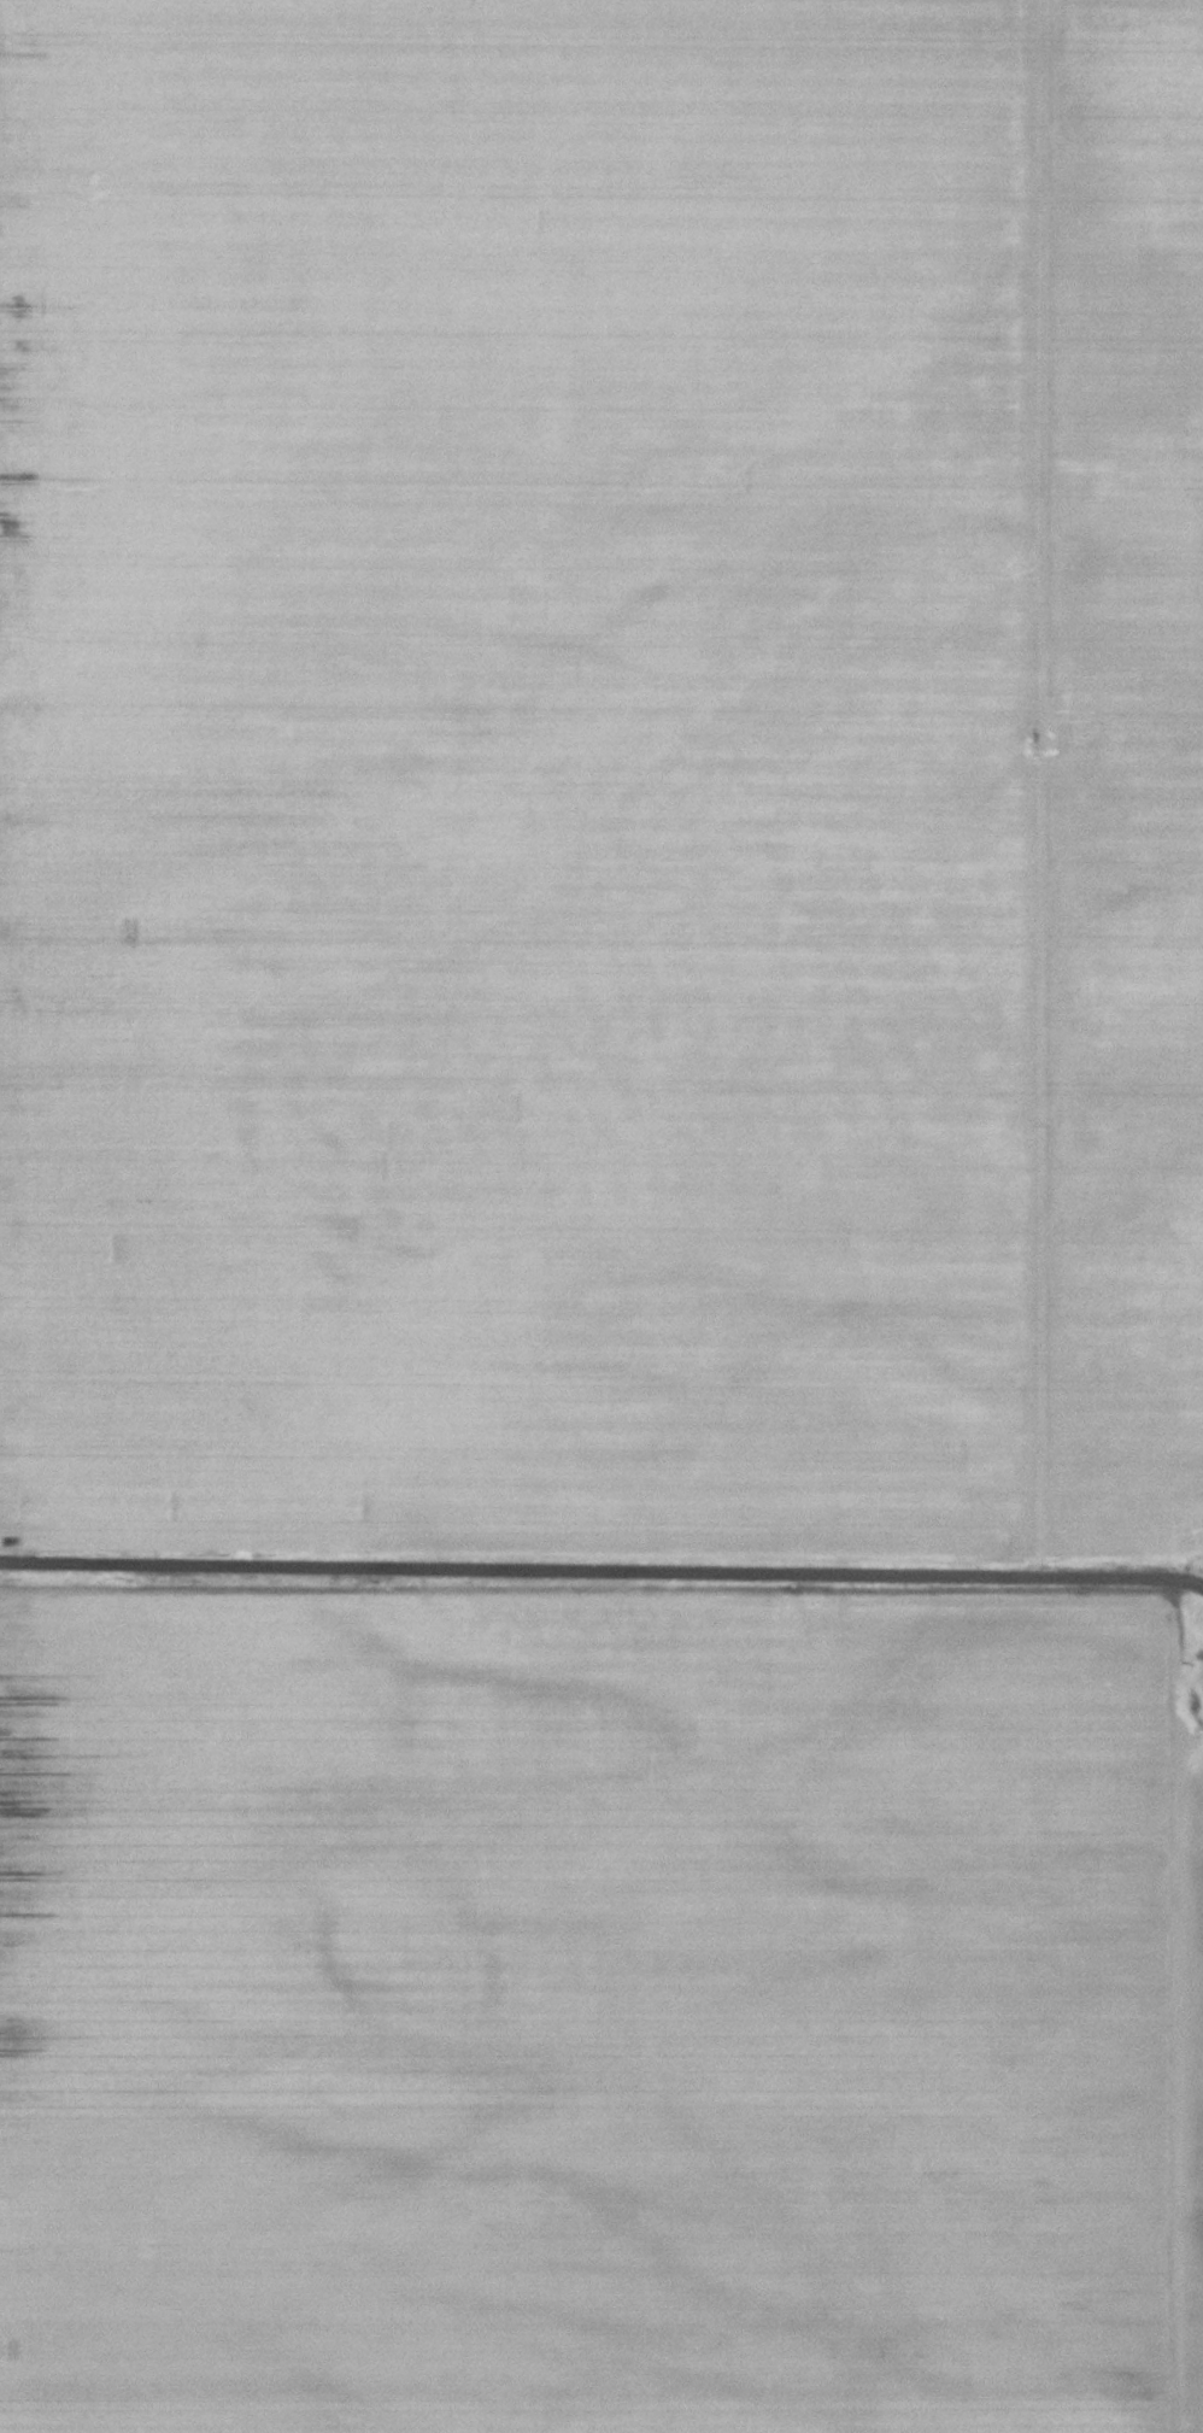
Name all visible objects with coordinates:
road: (601, 1567)

